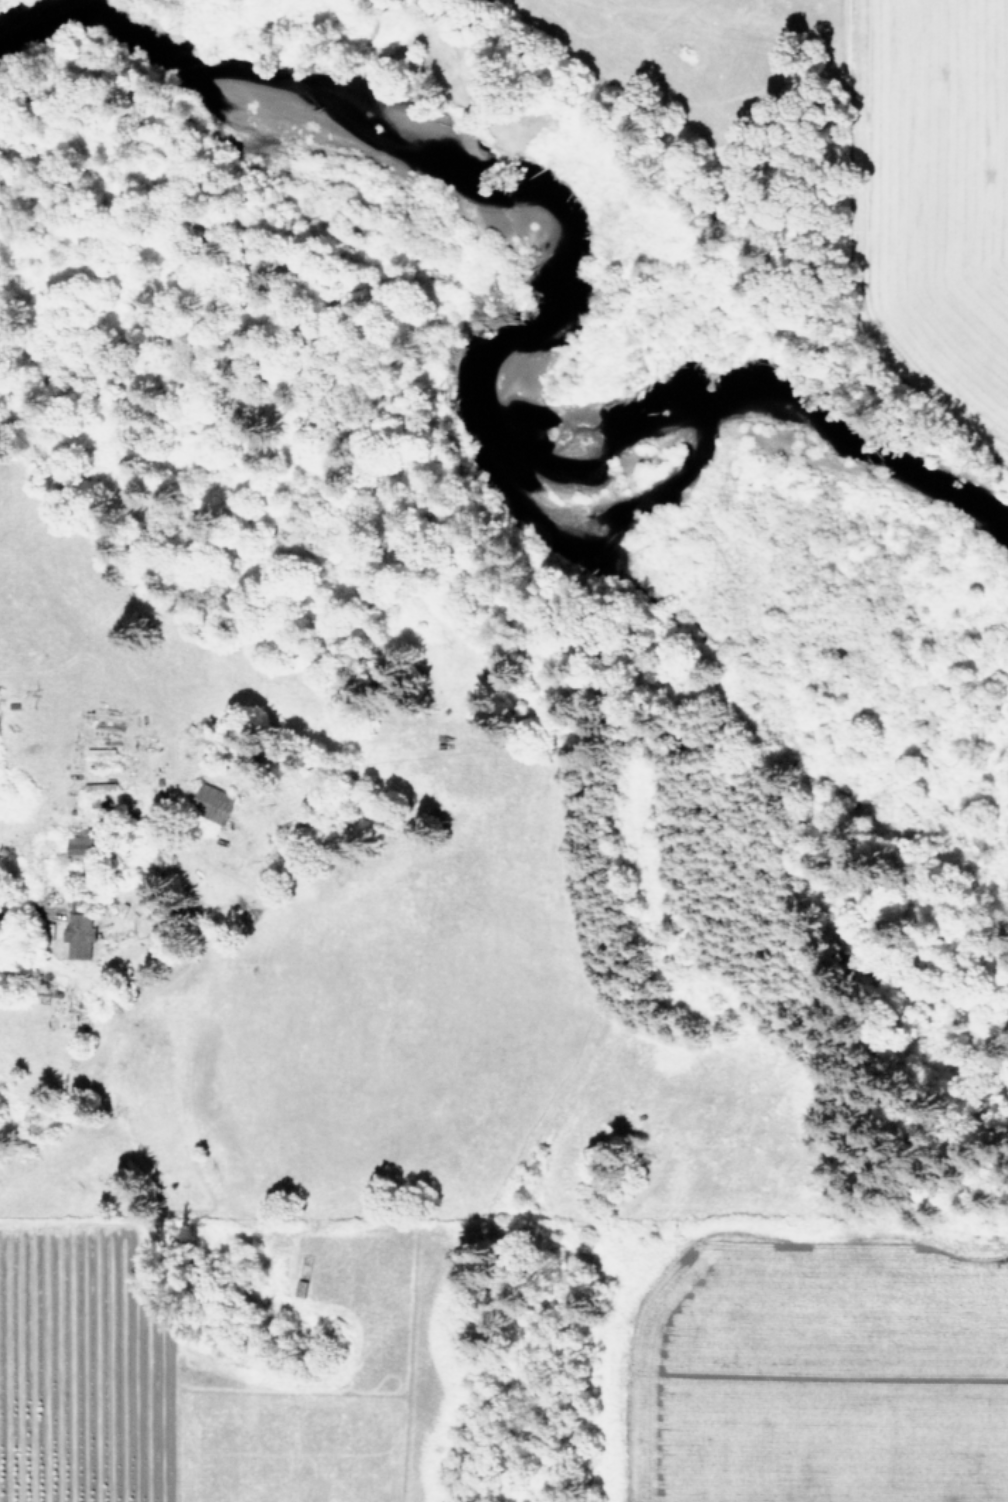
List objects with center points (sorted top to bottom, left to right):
crop: (914, 176)
building: (87, 842)
building: (80, 935)
crop: (398, 1156)

